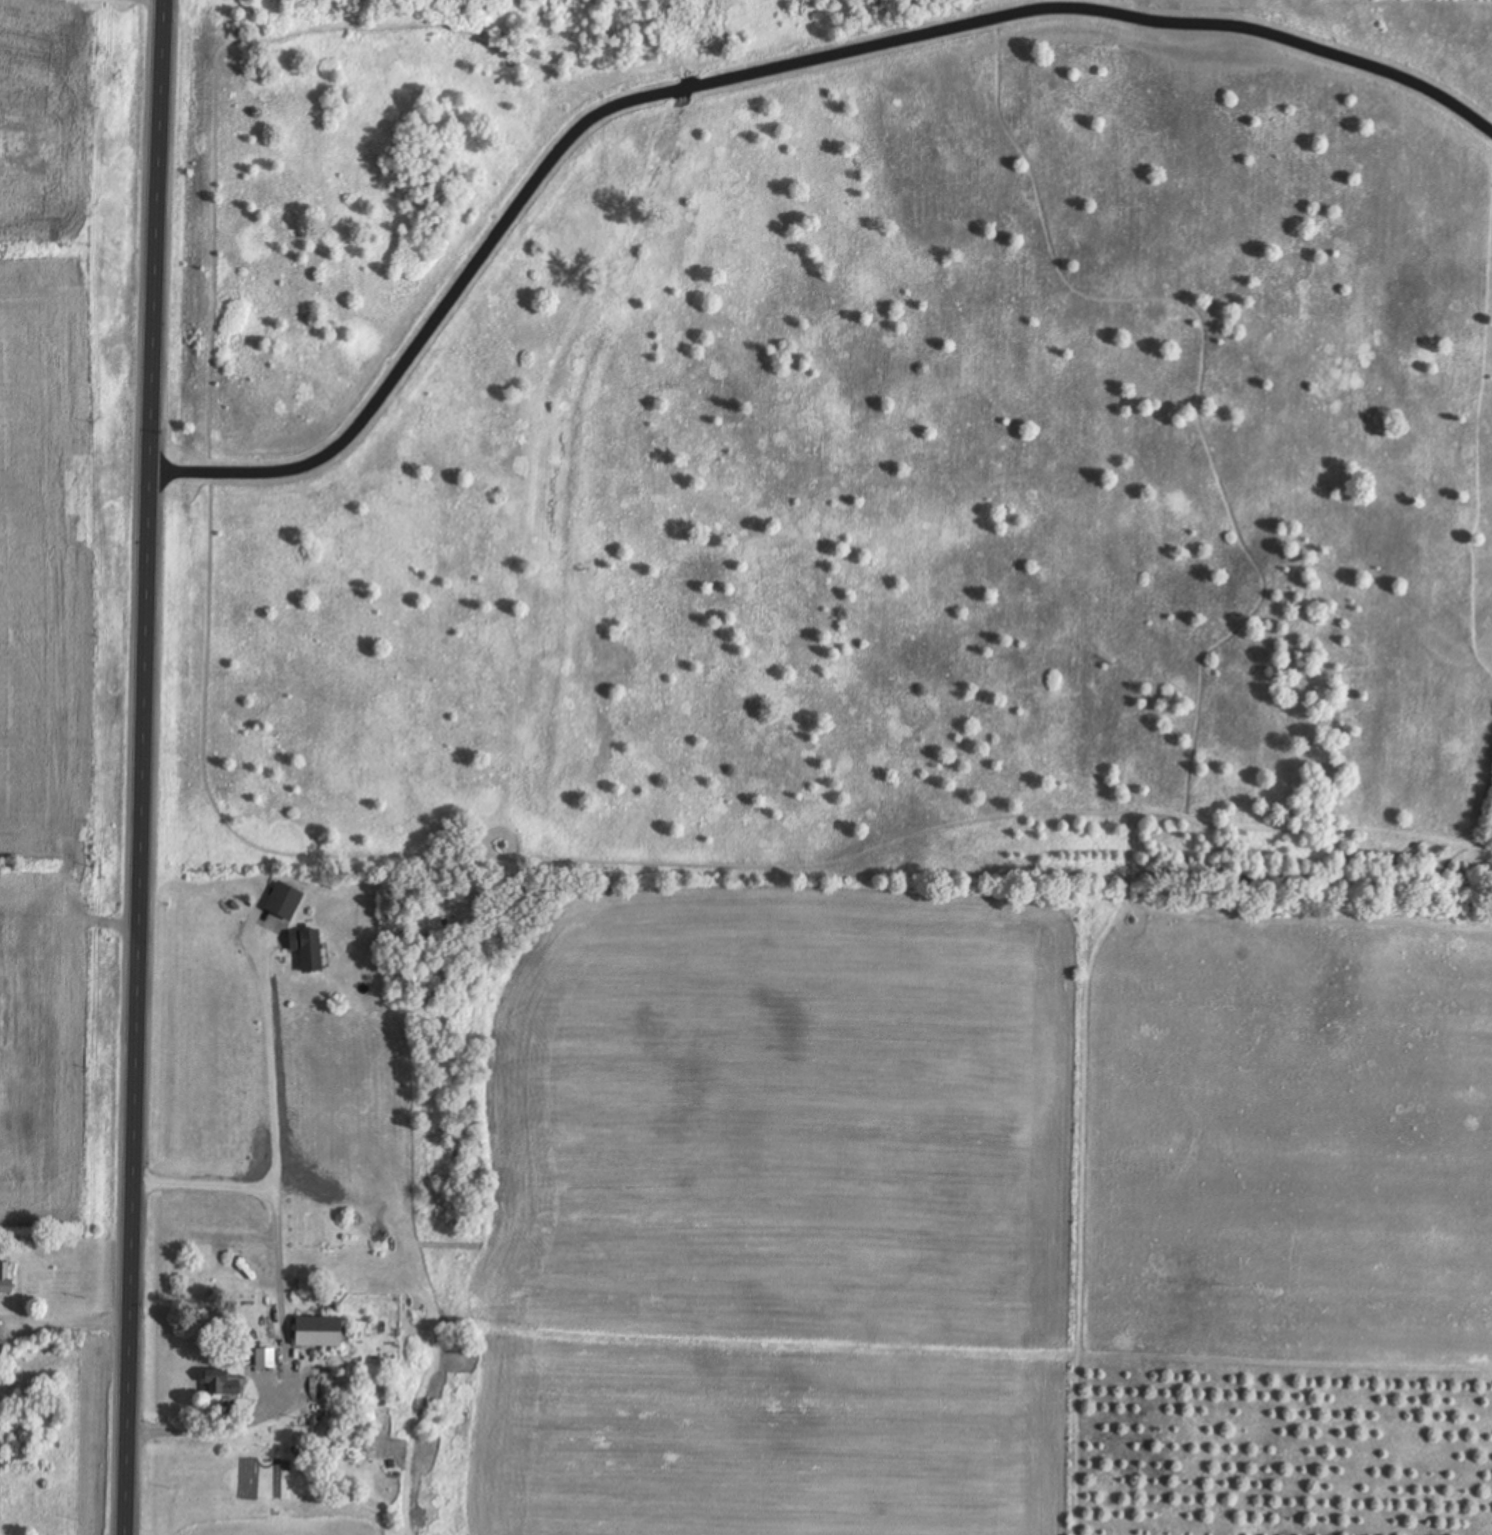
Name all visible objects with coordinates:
road: (749, 74)
road: (144, 767)
building: (284, 902)
building: (307, 950)
road: (272, 1144)
building: (237, 1266)
building: (6, 1278)
building: (318, 1332)
building: (264, 1358)
building: (221, 1384)
road: (197, 1435)

